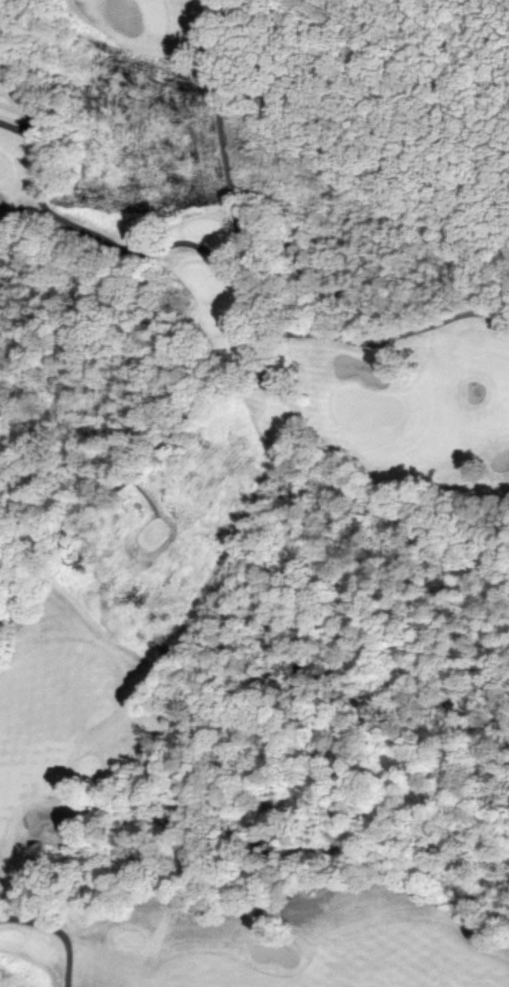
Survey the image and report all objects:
road: (220, 132)
road: (122, 247)
road: (217, 389)
park: (235, 539)
road: (56, 932)

